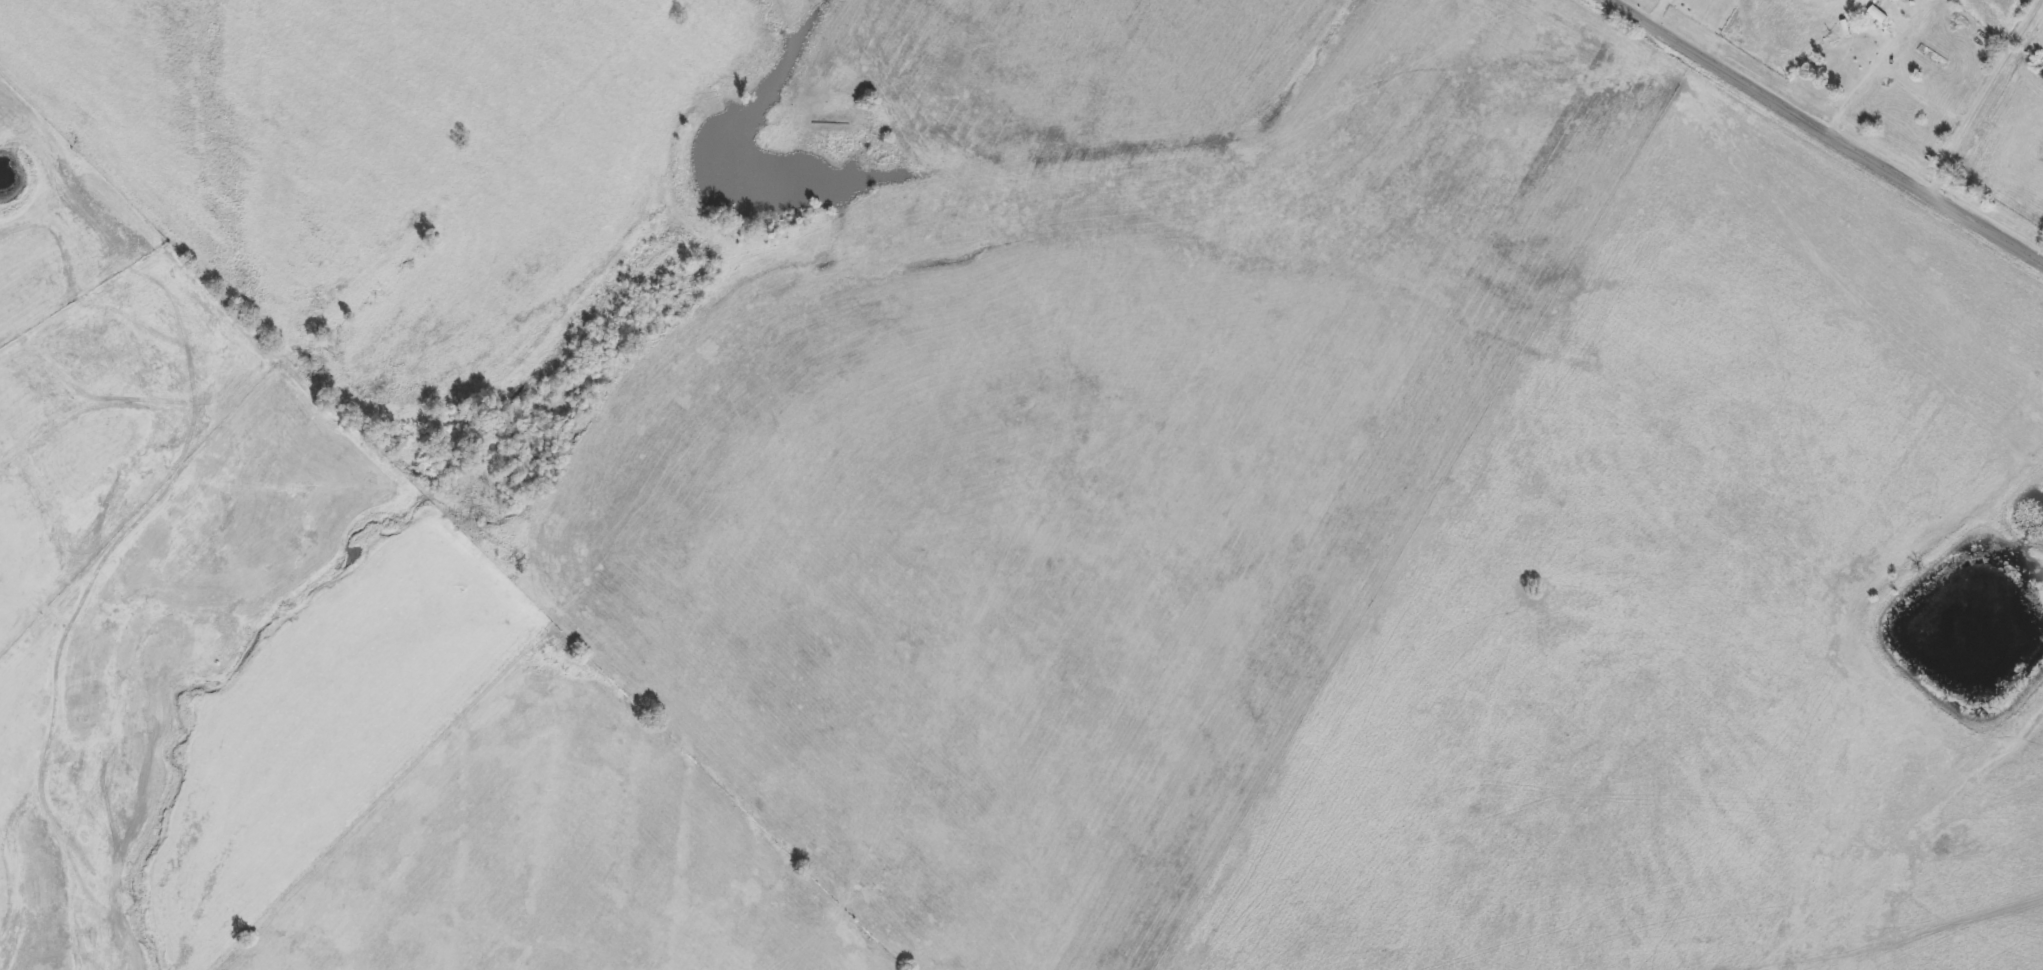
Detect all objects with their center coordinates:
road: (1864, 86)
road: (1984, 98)
road: (1823, 132)

